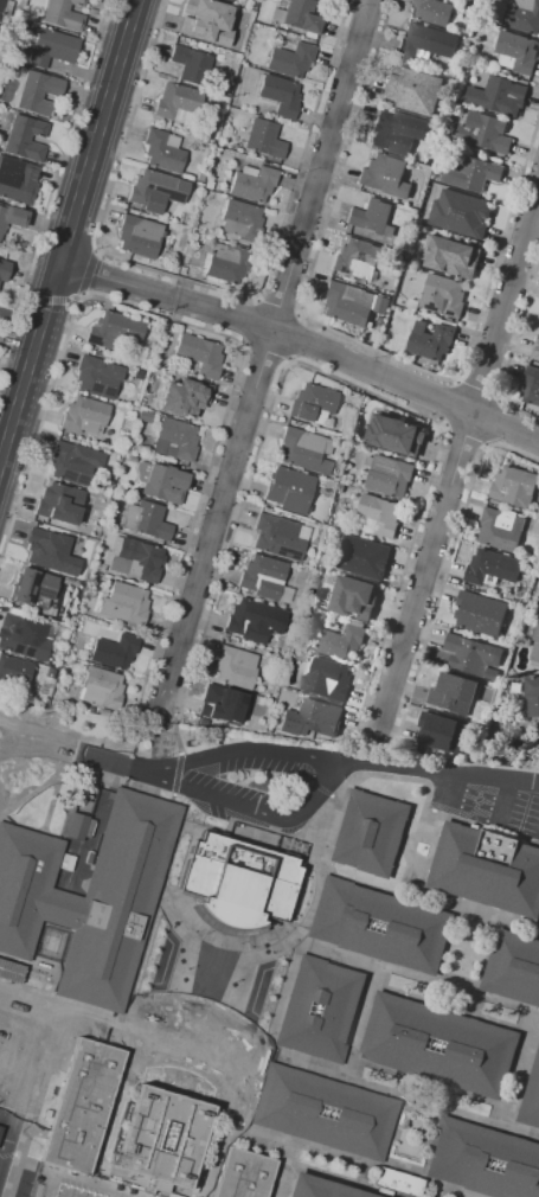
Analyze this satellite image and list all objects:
building: (227, 0)
building: (5, 9)
building: (434, 11)
building: (64, 14)
building: (522, 15)
building: (297, 17)
building: (206, 21)
building: (24, 24)
building: (426, 43)
building: (51, 47)
building: (516, 52)
building: (291, 60)
building: (406, 60)
building: (191, 64)
building: (412, 89)
building: (36, 92)
building: (281, 95)
building: (499, 95)
building: (178, 103)
building: (399, 130)
building: (485, 132)
building: (25, 139)
building: (264, 139)
building: (163, 151)
building: (473, 173)
building: (385, 175)
building: (200, 177)
building: (18, 180)
road: (53, 181)
building: (254, 183)
building: (208, 185)
building: (156, 191)
building: (218, 197)
building: (461, 212)
building: (372, 217)
building: (11, 218)
building: (240, 219)
road: (68, 231)
building: (139, 237)
building: (203, 239)
building: (451, 255)
building: (357, 260)
building: (227, 263)
building: (4, 270)
building: (181, 270)
road: (90, 273)
road: (201, 286)
building: (443, 295)
building: (347, 303)
building: (381, 305)
road: (280, 306)
road: (249, 322)
building: (163, 327)
building: (115, 331)
road: (213, 332)
road: (295, 338)
road: (301, 339)
road: (354, 340)
building: (430, 340)
road: (512, 347)
building: (535, 351)
building: (200, 354)
road: (262, 354)
road: (264, 357)
building: (136, 375)
building: (98, 377)
road: (340, 378)
road: (480, 384)
building: (532, 385)
building: (346, 391)
building: (185, 397)
road: (447, 401)
building: (313, 404)
building: (84, 416)
building: (145, 416)
road: (498, 424)
building: (396, 434)
road: (466, 437)
building: (175, 440)
road: (454, 444)
building: (304, 450)
building: (133, 459)
building: (73, 462)
building: (389, 475)
building: (161, 482)
building: (341, 487)
building: (514, 487)
building: (289, 489)
building: (496, 501)
building: (59, 504)
building: (379, 516)
building: (143, 519)
building: (501, 529)
building: (280, 537)
building: (50, 551)
building: (364, 557)
building: (136, 561)
building: (100, 567)
building: (492, 568)
road: (445, 569)
building: (264, 578)
building: (33, 589)
building: (353, 596)
building: (126, 603)
building: (51, 612)
building: (481, 613)
building: (255, 621)
building: (23, 636)
building: (344, 641)
building: (534, 645)
building: (115, 652)
building: (473, 655)
building: (235, 667)
building: (13, 671)
building: (327, 679)
building: (102, 687)
building: (454, 692)
building: (533, 694)
building: (222, 704)
building: (89, 710)
building: (320, 717)
building: (444, 732)
road: (179, 740)
road: (75, 750)
road: (249, 751)
road: (404, 768)
road: (92, 772)
road: (179, 775)
road: (509, 779)
road: (526, 781)
parking lot: (256, 792)
road: (261, 809)
building: (75, 825)
building: (370, 833)
road: (178, 853)
building: (487, 869)
building: (239, 881)
building: (90, 897)
building: (380, 926)
building: (514, 967)
building: (321, 1010)
road: (233, 1012)
road: (37, 1035)
building: (439, 1044)
parking lot: (18, 1077)
building: (66, 1080)
road: (20, 1096)
building: (531, 1097)
building: (325, 1112)
road: (7, 1115)
building: (166, 1128)
building: (0, 1129)
road: (7, 1145)
building: (485, 1159)
road: (1, 1160)
building: (244, 1174)
building: (398, 1182)
building: (319, 1189)

